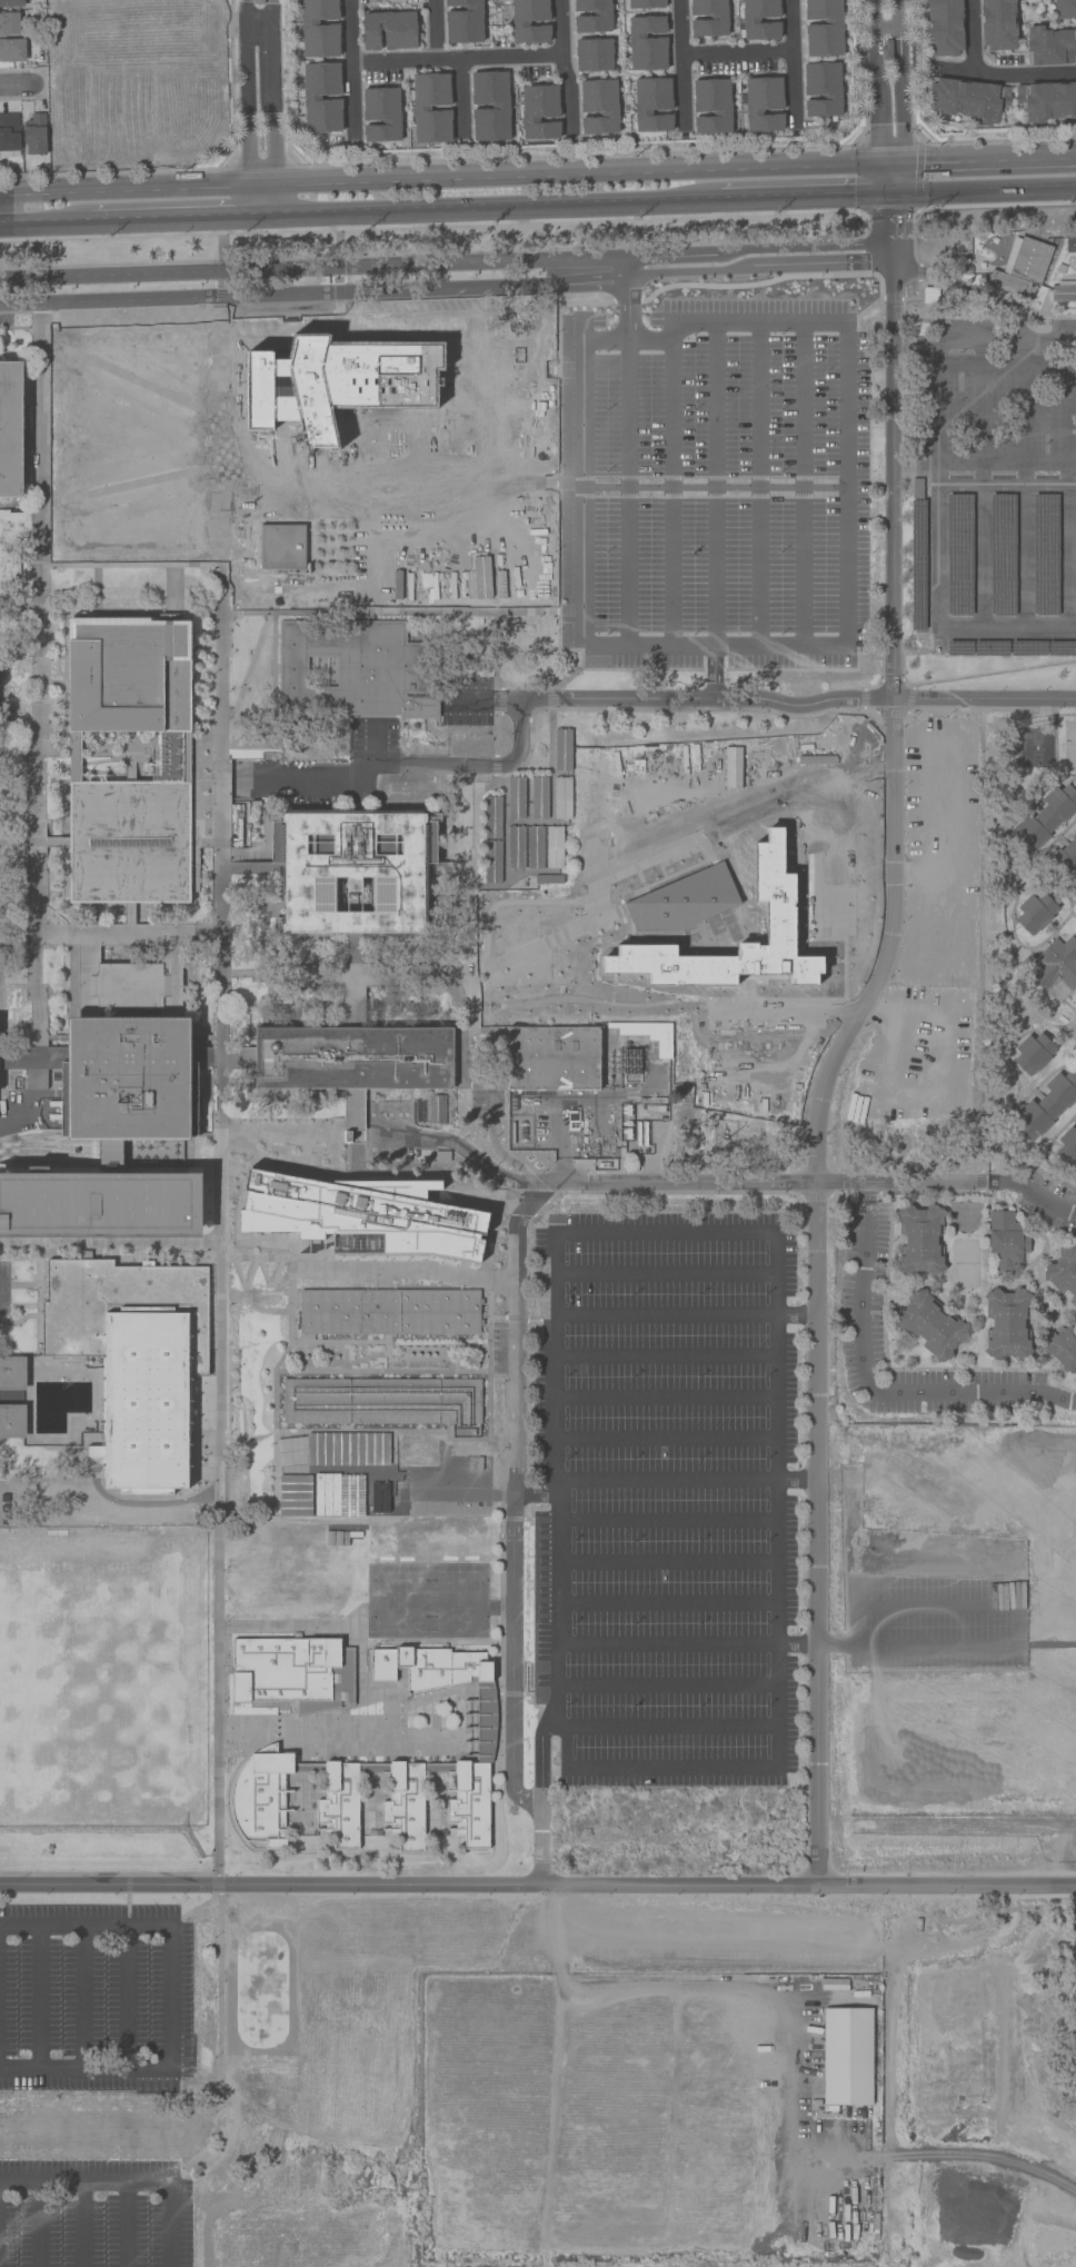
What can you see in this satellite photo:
building: (258, 1)
building: (11, 3)
building: (645, 3)
building: (1065, 9)
road: (133, 11)
building: (592, 16)
building: (718, 17)
building: (750, 19)
building: (464, 21)
building: (530, 21)
building: (9, 23)
building: (998, 24)
building: (320, 28)
building: (824, 28)
building: (945, 28)
building: (389, 30)
road: (437, 30)
road: (975, 34)
building: (647, 42)
building: (1049, 46)
building: (12, 50)
building: (887, 50)
road: (739, 52)
building: (594, 54)
road: (795, 58)
road: (460, 59)
road: (566, 60)
road: (685, 63)
road: (356, 66)
road: (1006, 72)
road: (120, 74)
road: (899, 81)
road: (17, 83)
building: (823, 89)
road: (248, 91)
road: (270, 92)
road: (877, 96)
building: (322, 97)
road: (464, 97)
building: (968, 99)
building: (1047, 100)
building: (764, 103)
building: (652, 105)
building: (501, 106)
building: (713, 106)
building: (599, 107)
building: (431, 108)
building: (540, 111)
road: (138, 113)
building: (381, 115)
building: (36, 133)
building: (9, 136)
road: (1002, 140)
road: (117, 153)
road: (130, 153)
road: (568, 157)
road: (989, 160)
road: (891, 163)
traffic signals: (903, 163)
traffic signals: (880, 165)
road: (577, 175)
road: (897, 177)
road: (124, 180)
road: (262, 185)
road: (984, 187)
road: (124, 189)
traffic signals: (893, 190)
road: (807, 193)
road: (275, 198)
road: (251, 199)
road: (998, 203)
road: (498, 205)
road: (183, 215)
road: (46, 219)
road: (430, 225)
road: (894, 225)
road: (36, 251)
road: (447, 262)
building: (1022, 268)
road: (446, 286)
road: (969, 287)
road: (37, 288)
building: (1063, 292)
building: (930, 295)
road: (562, 306)
road: (192, 314)
road: (1049, 341)
road: (939, 371)
road: (130, 378)
building: (339, 387)
building: (401, 420)
building: (11, 429)
road: (534, 468)
parking lot: (717, 481)
road: (982, 483)
road: (1067, 483)
road: (132, 484)
road: (801, 484)
road: (1023, 484)
road: (759, 485)
parking lot: (994, 486)
building: (917, 488)
road: (671, 489)
road: (23, 503)
road: (582, 504)
road: (715, 511)
building: (444, 545)
building: (12, 546)
building: (285, 547)
road: (936, 554)
building: (960, 554)
building: (1003, 555)
building: (1046, 555)
road: (130, 564)
building: (918, 565)
road: (280, 596)
road: (401, 610)
road: (835, 646)
building: (959, 648)
building: (992, 648)
building: (1028, 648)
building: (1062, 648)
road: (496, 649)
road: (880, 660)
road: (40, 666)
building: (358, 669)
road: (576, 669)
road: (973, 676)
road: (550, 698)
road: (499, 699)
road: (771, 700)
road: (687, 707)
road: (1013, 709)
road: (495, 733)
building: (73, 745)
building: (175, 745)
building: (1035, 746)
building: (564, 749)
road: (412, 765)
road: (495, 765)
building: (733, 767)
building: (817, 769)
road: (1066, 777)
building: (516, 797)
building: (539, 797)
building: (562, 797)
building: (492, 817)
building: (1045, 818)
building: (535, 846)
building: (516, 847)
building: (555, 847)
road: (1043, 855)
building: (1067, 855)
building: (492, 862)
building: (353, 869)
building: (549, 879)
building: (688, 895)
building: (1075, 897)
road: (1067, 899)
building: (1036, 913)
road: (580, 925)
building: (783, 927)
road: (982, 934)
road: (471, 939)
building: (1054, 968)
building: (355, 978)
road: (0, 1007)
road: (786, 1012)
road: (1075, 1031)
building: (650, 1034)
building: (130, 1040)
building: (1034, 1053)
building: (353, 1057)
building: (554, 1058)
road: (829, 1066)
building: (37, 1078)
building: (1047, 1105)
building: (437, 1108)
building: (353, 1118)
building: (574, 1121)
road: (21, 1124)
road: (303, 1131)
building: (1067, 1146)
road: (1047, 1147)
road: (498, 1151)
road: (1026, 1173)
road: (1053, 1179)
road: (982, 1181)
road: (917, 1182)
road: (590, 1183)
road: (542, 1191)
road: (866, 1191)
road: (670, 1192)
road: (815, 1195)
road: (468, 1201)
road: (1046, 1201)
parking lot: (1047, 1202)
building: (100, 1205)
road: (534, 1206)
road: (522, 1210)
road: (219, 1216)
building: (360, 1216)
road: (542, 1224)
building: (920, 1240)
building: (1007, 1240)
road: (109, 1242)
road: (282, 1242)
road: (228, 1256)
road: (256, 1256)
road: (257, 1256)
road: (277, 1257)
road: (398, 1269)
road: (665, 1273)
building: (1064, 1273)
road: (382, 1279)
parking lot: (4, 1285)
parking lot: (859, 1306)
building: (388, 1312)
road: (684, 1314)
road: (498, 1316)
road: (515, 1318)
road: (530, 1318)
building: (1007, 1323)
building: (931, 1325)
road: (488, 1328)
road: (515, 1335)
road: (352, 1342)
building: (1063, 1348)
road: (664, 1355)
building: (134, 1358)
road: (965, 1368)
road: (381, 1370)
building: (13, 1373)
road: (889, 1380)
road: (1066, 1388)
road: (880, 1390)
road: (665, 1396)
building: (382, 1401)
building: (13, 1421)
road: (665, 1438)
road: (273, 1451)
building: (468, 1451)
building: (417, 1453)
road: (685, 1480)
road: (535, 1492)
parking lot: (664, 1499)
road: (666, 1521)
road: (666, 1560)
road: (500, 1565)
road: (666, 1602)
road: (1018, 1602)
road: (358, 1628)
road: (686, 1643)
road: (511, 1657)
building: (295, 1672)
park: (102, 1677)
road: (666, 1684)
road: (511, 1693)
road: (670, 1726)
road: (358, 1734)
road: (777, 1762)
building: (381, 1767)
road: (540, 1798)
road: (108, 1873)
road: (538, 1885)
road: (651, 1987)
road: (39, 1997)
road: (82, 1997)
road: (127, 1997)
road: (169, 1997)
building: (848, 2056)
road: (127, 2184)
road: (39, 2225)
road: (83, 2225)
road: (128, 2225)

